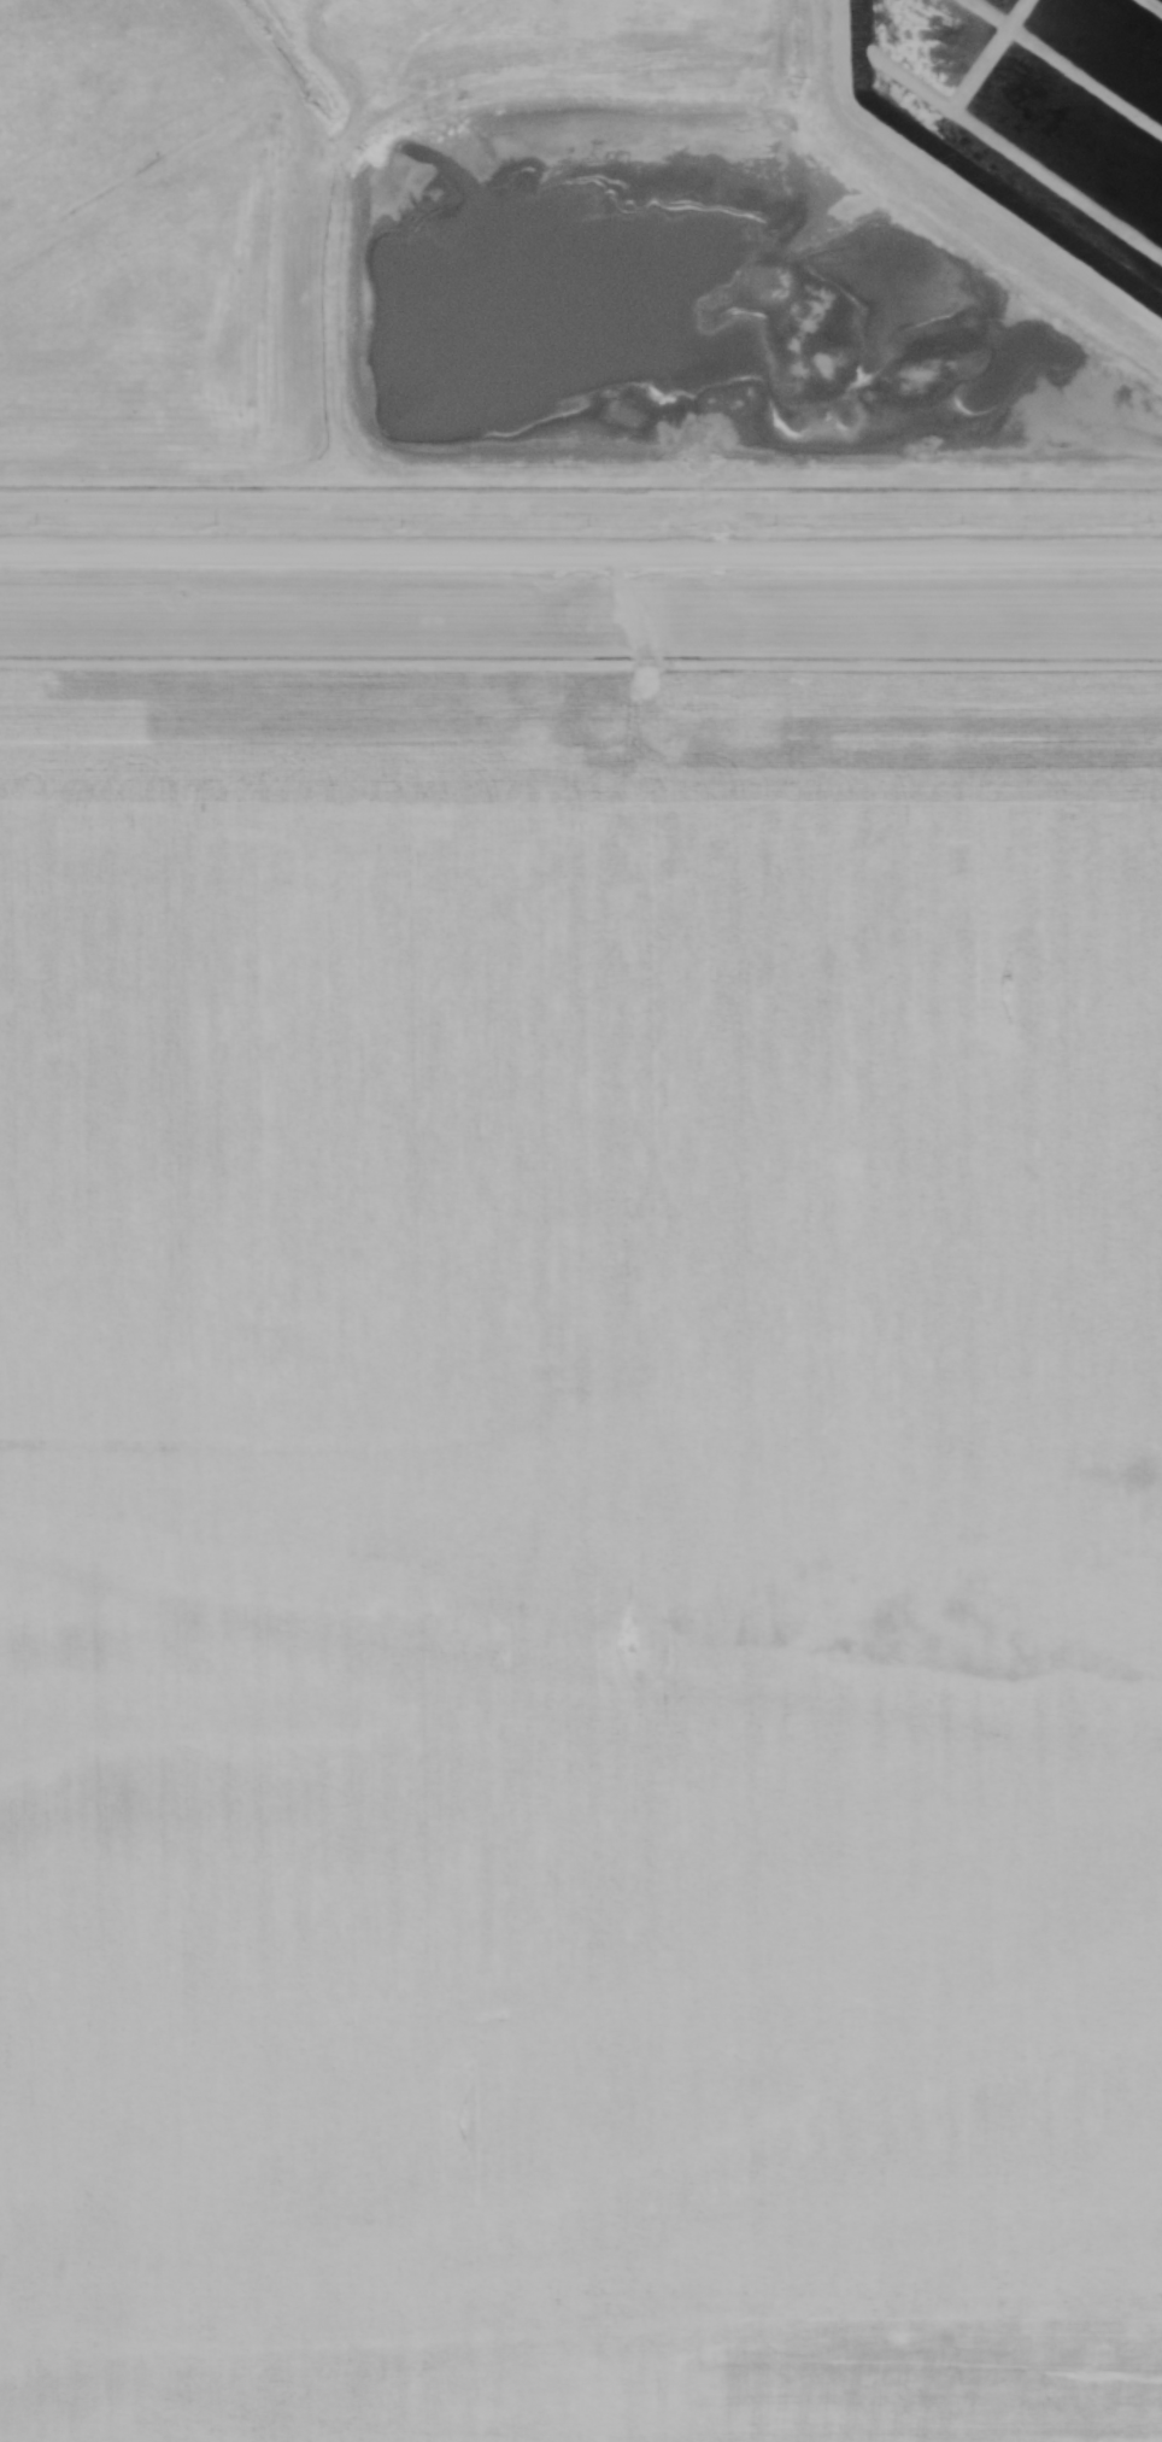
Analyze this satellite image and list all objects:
road: (580, 552)

